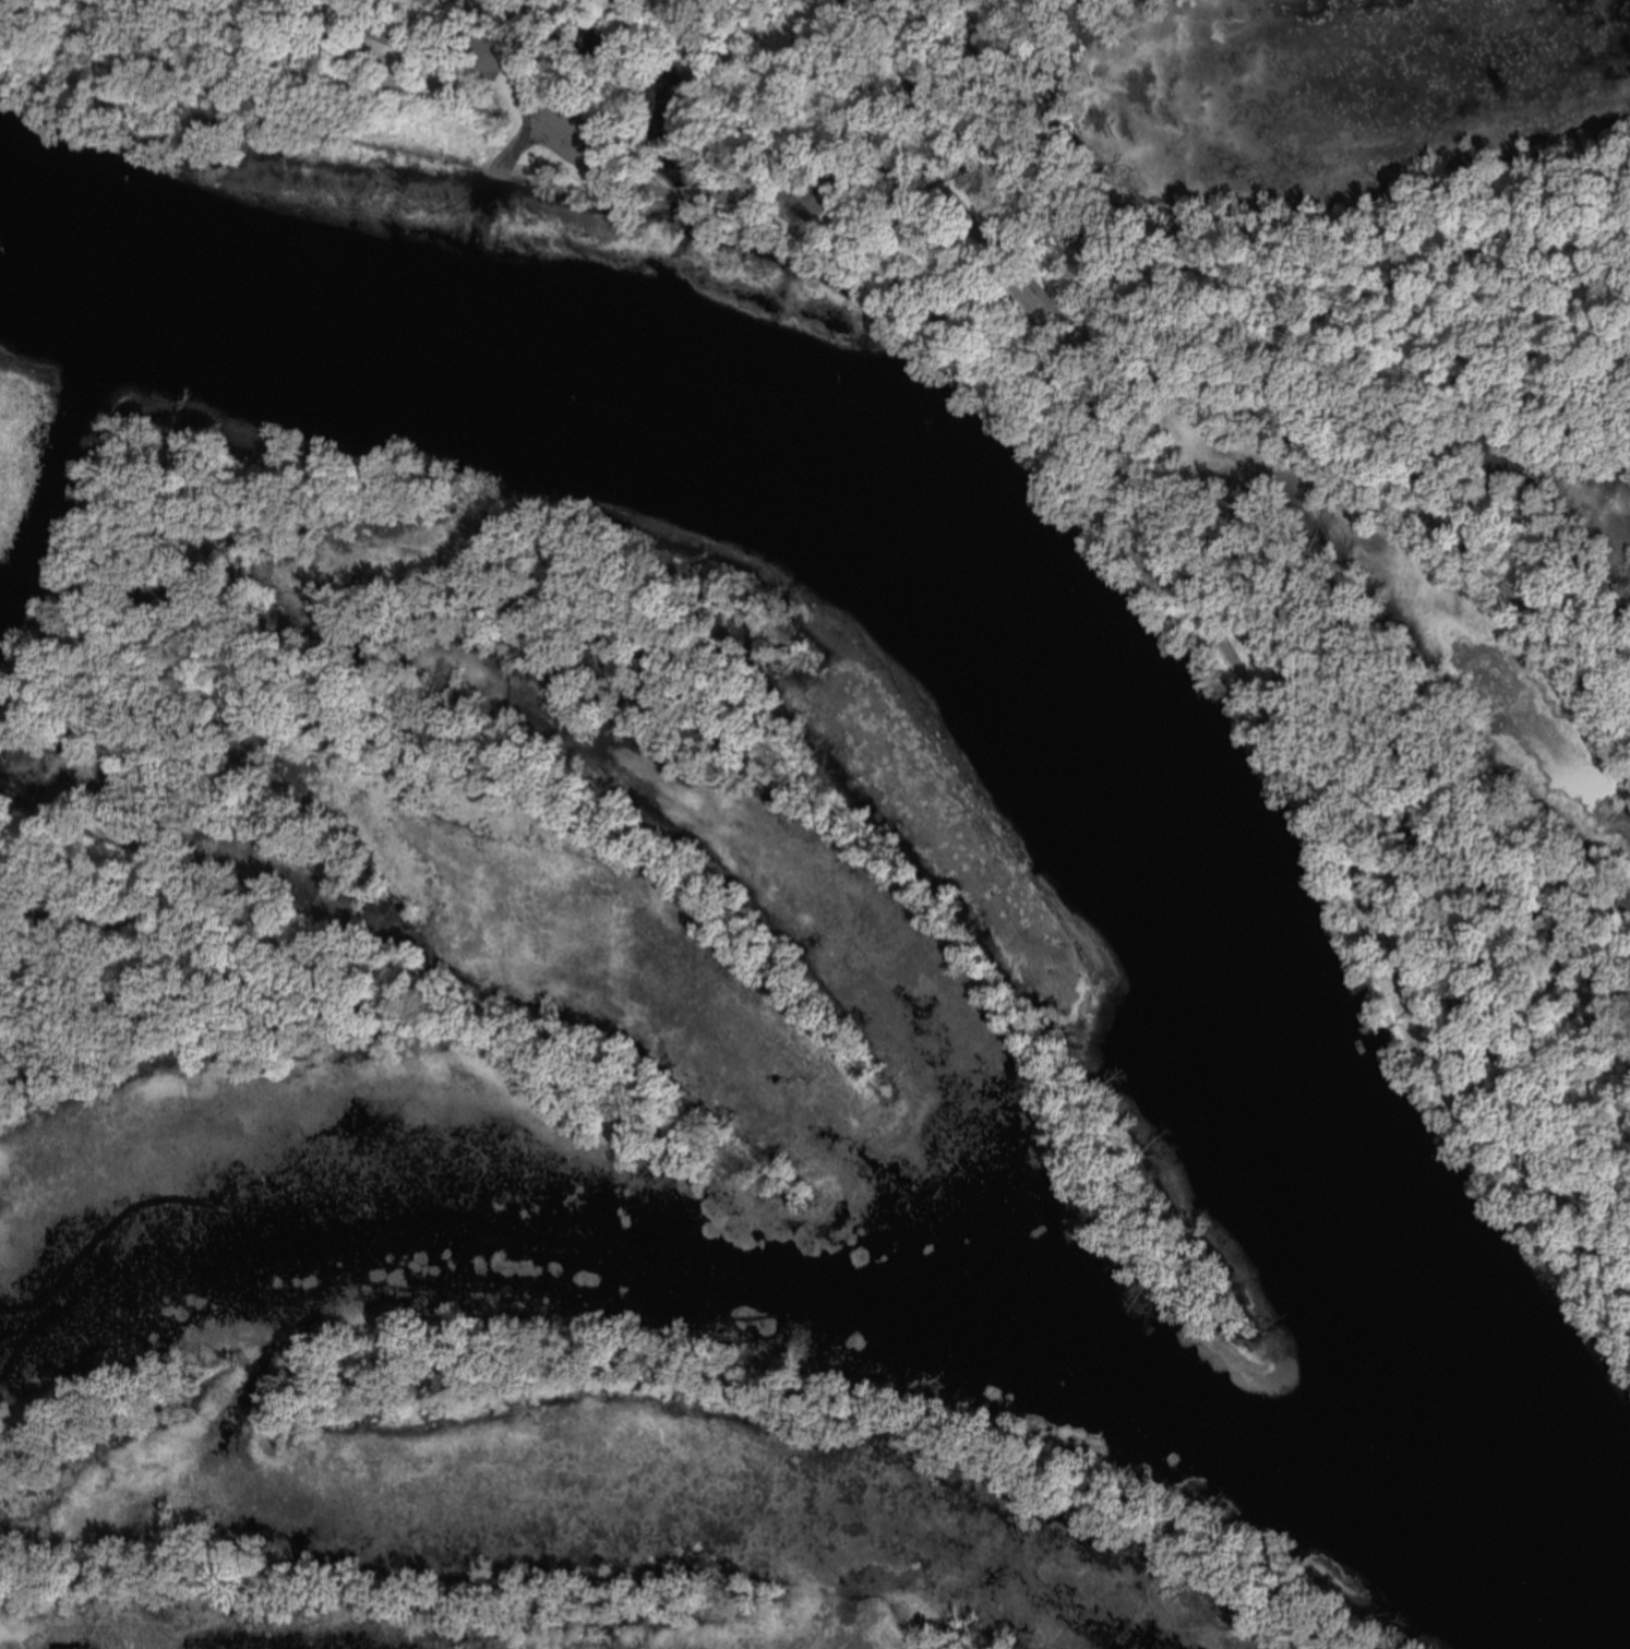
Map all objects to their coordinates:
road: (419, 40)
road: (981, 156)
road: (705, 193)
road: (239, 230)
road: (236, 288)
road: (1128, 482)

